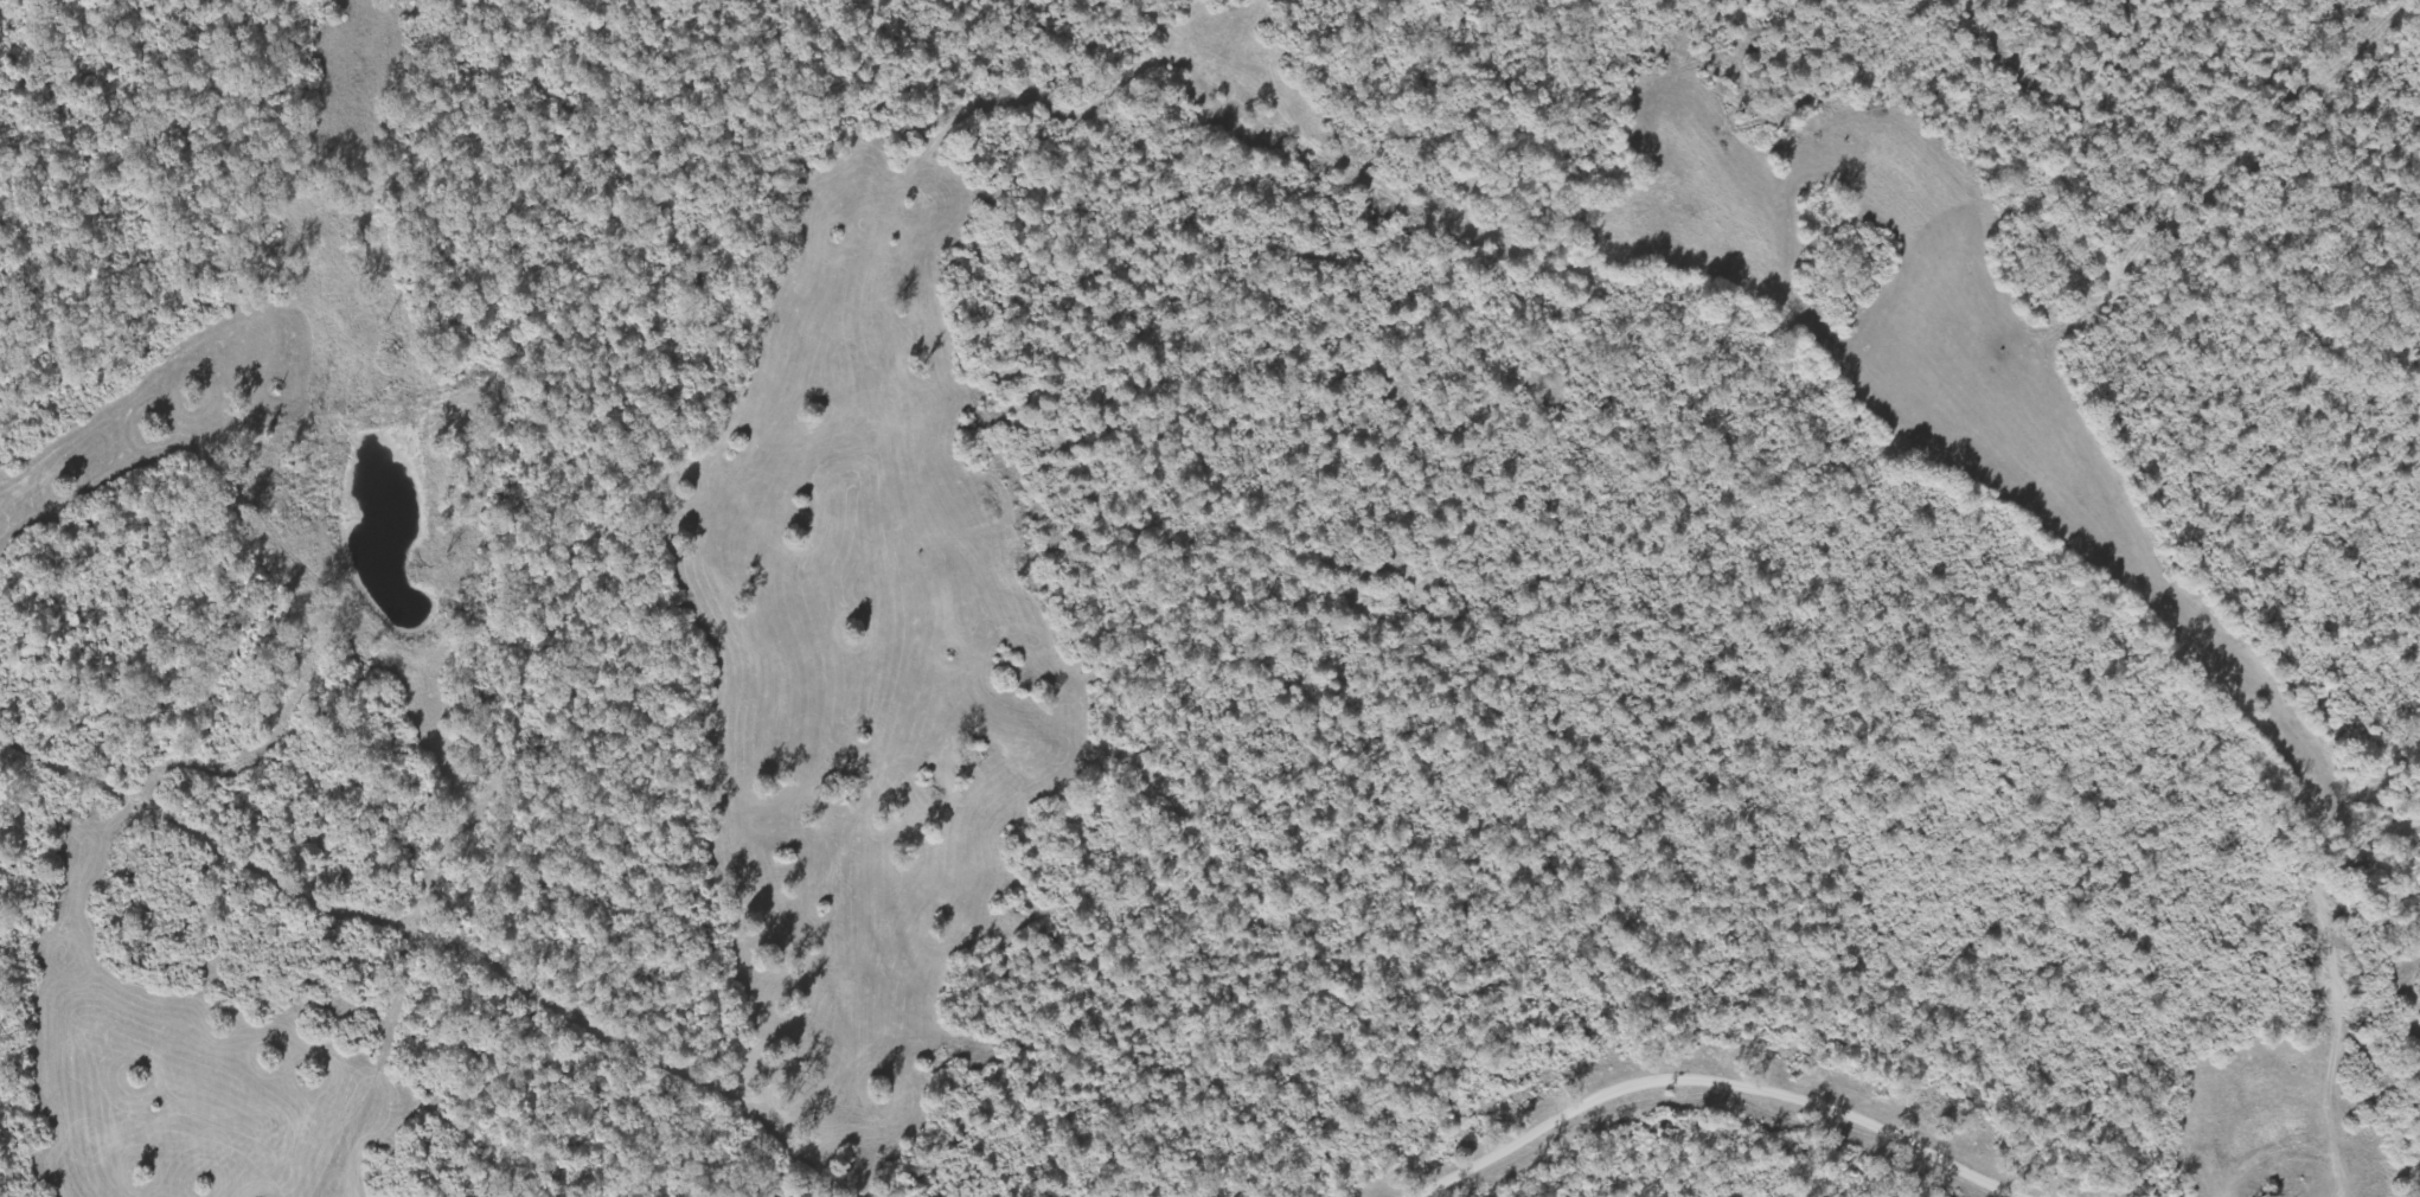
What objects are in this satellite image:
road: (2335, 994)
road: (1699, 1080)

